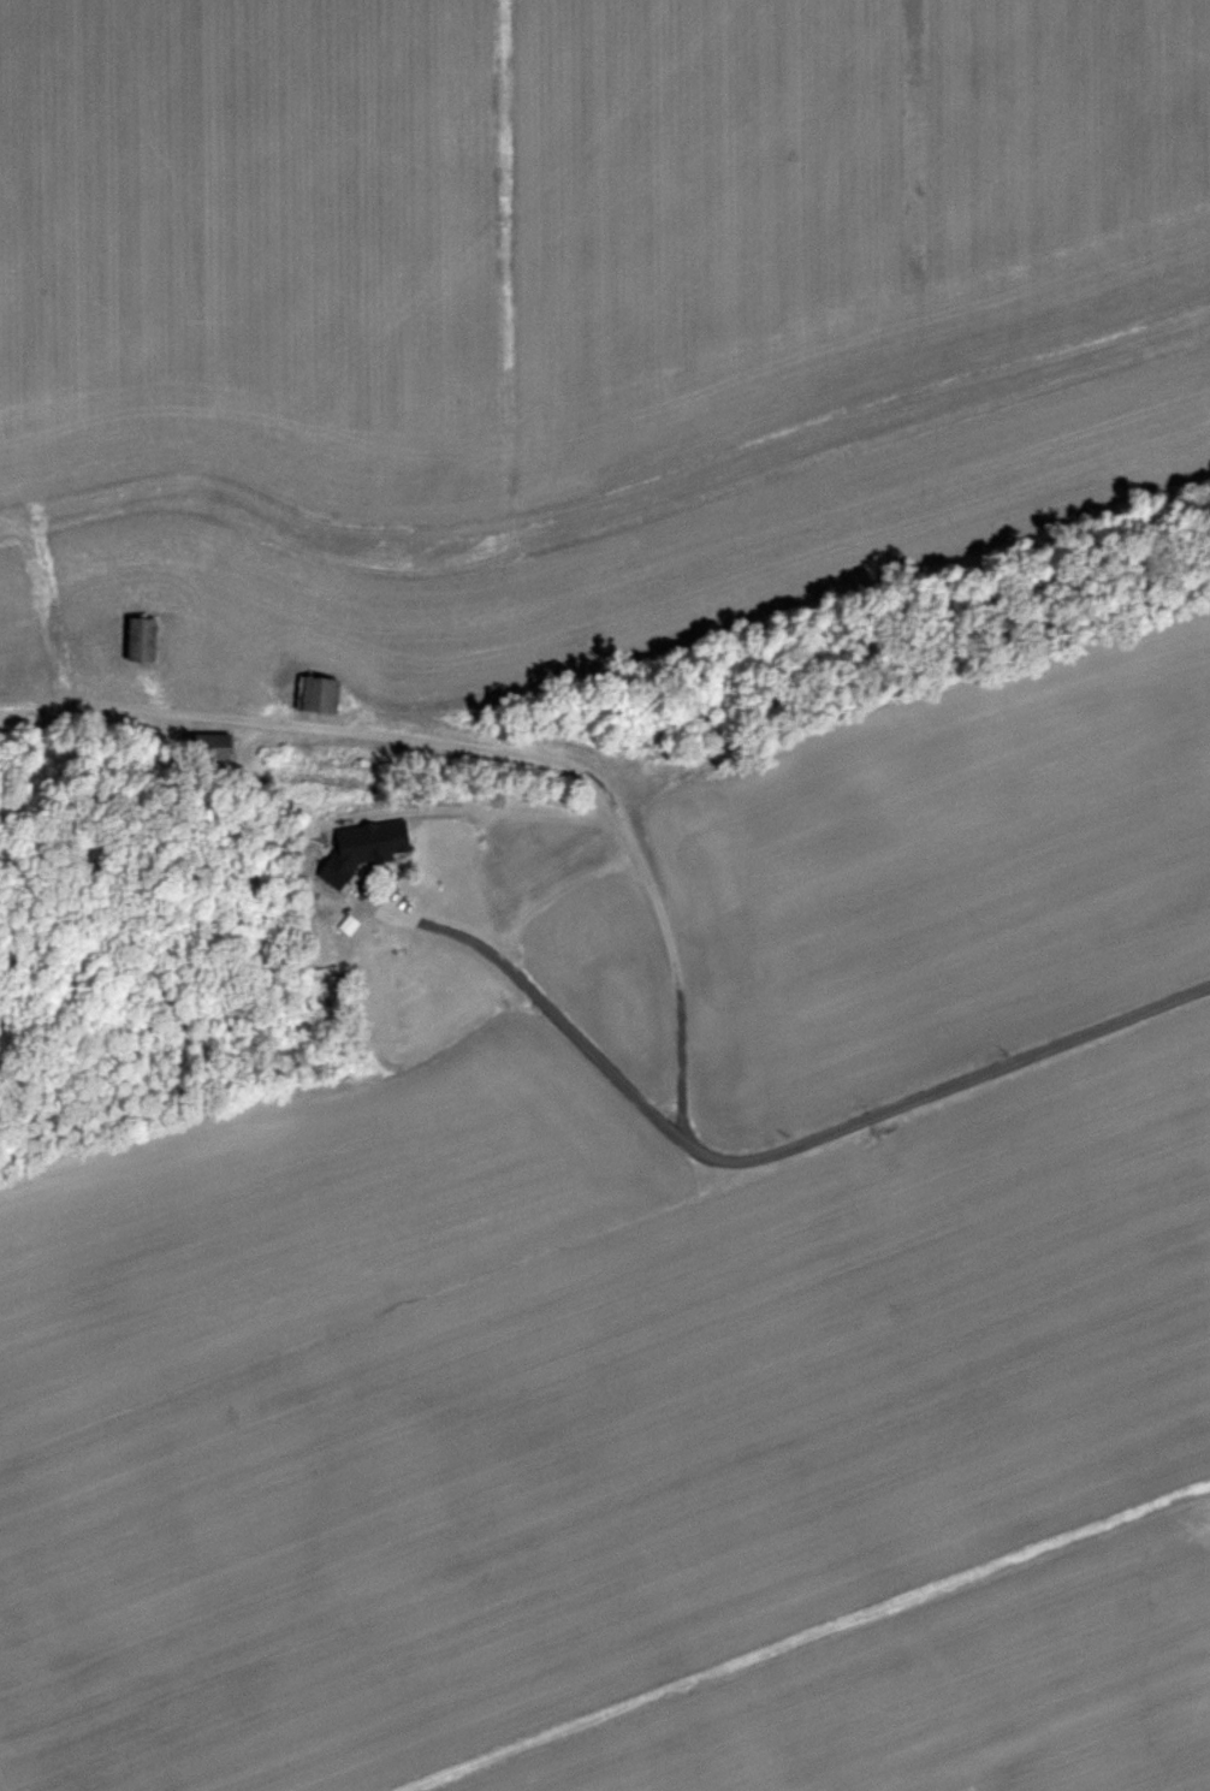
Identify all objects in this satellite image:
crop: (559, 227)
building: (146, 641)
building: (321, 694)
building: (344, 835)
building: (408, 935)
road: (676, 945)
road: (545, 1018)

